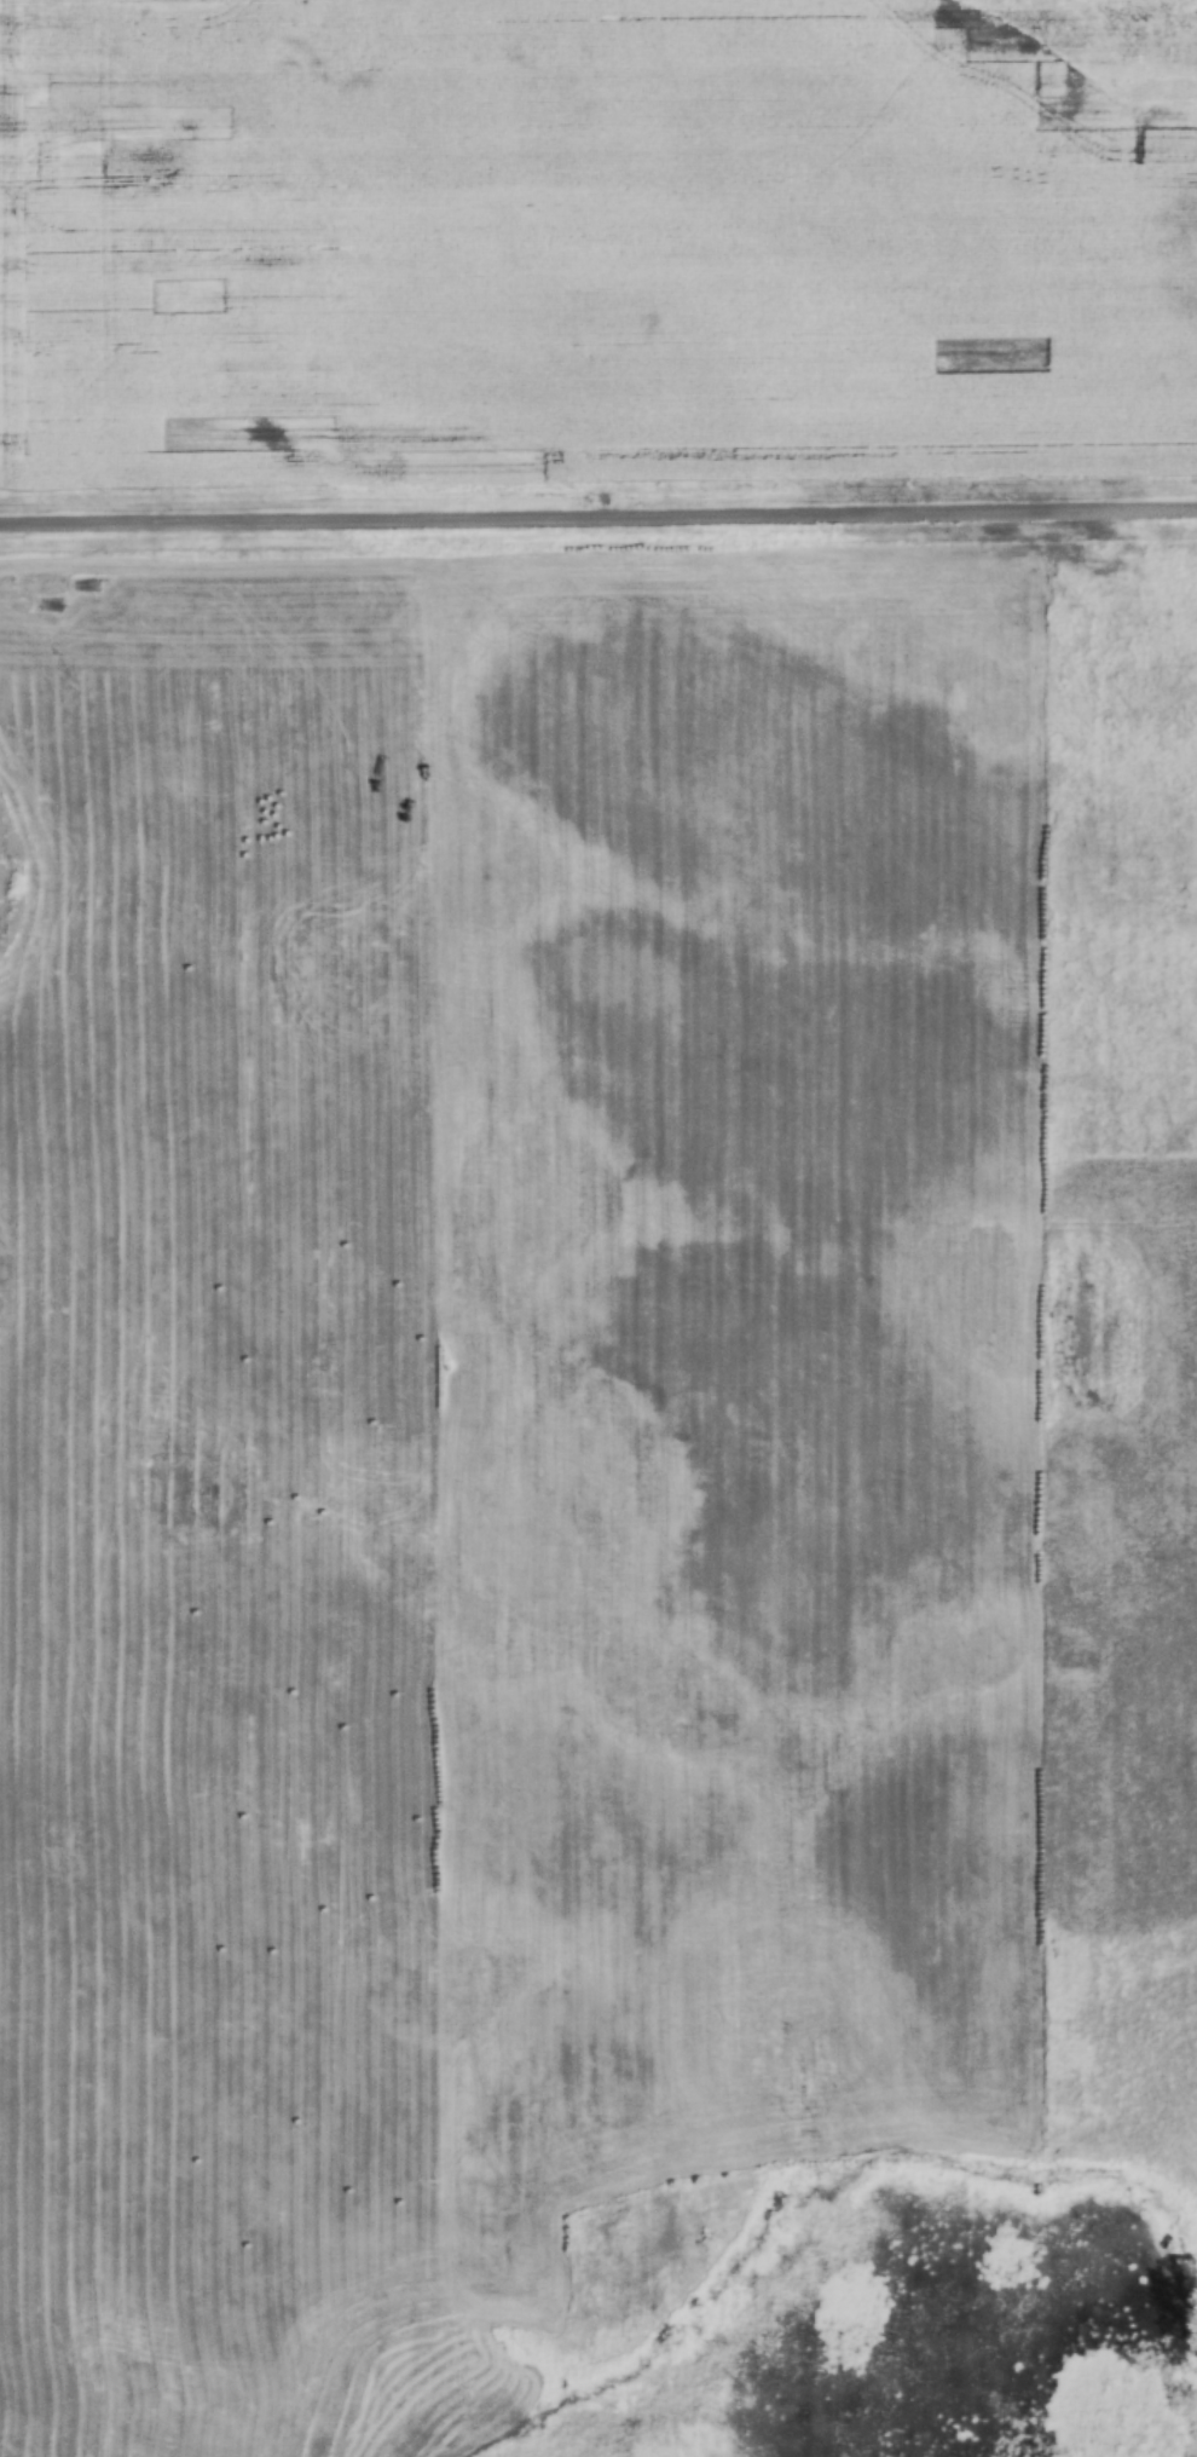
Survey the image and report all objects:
road: (597, 521)

